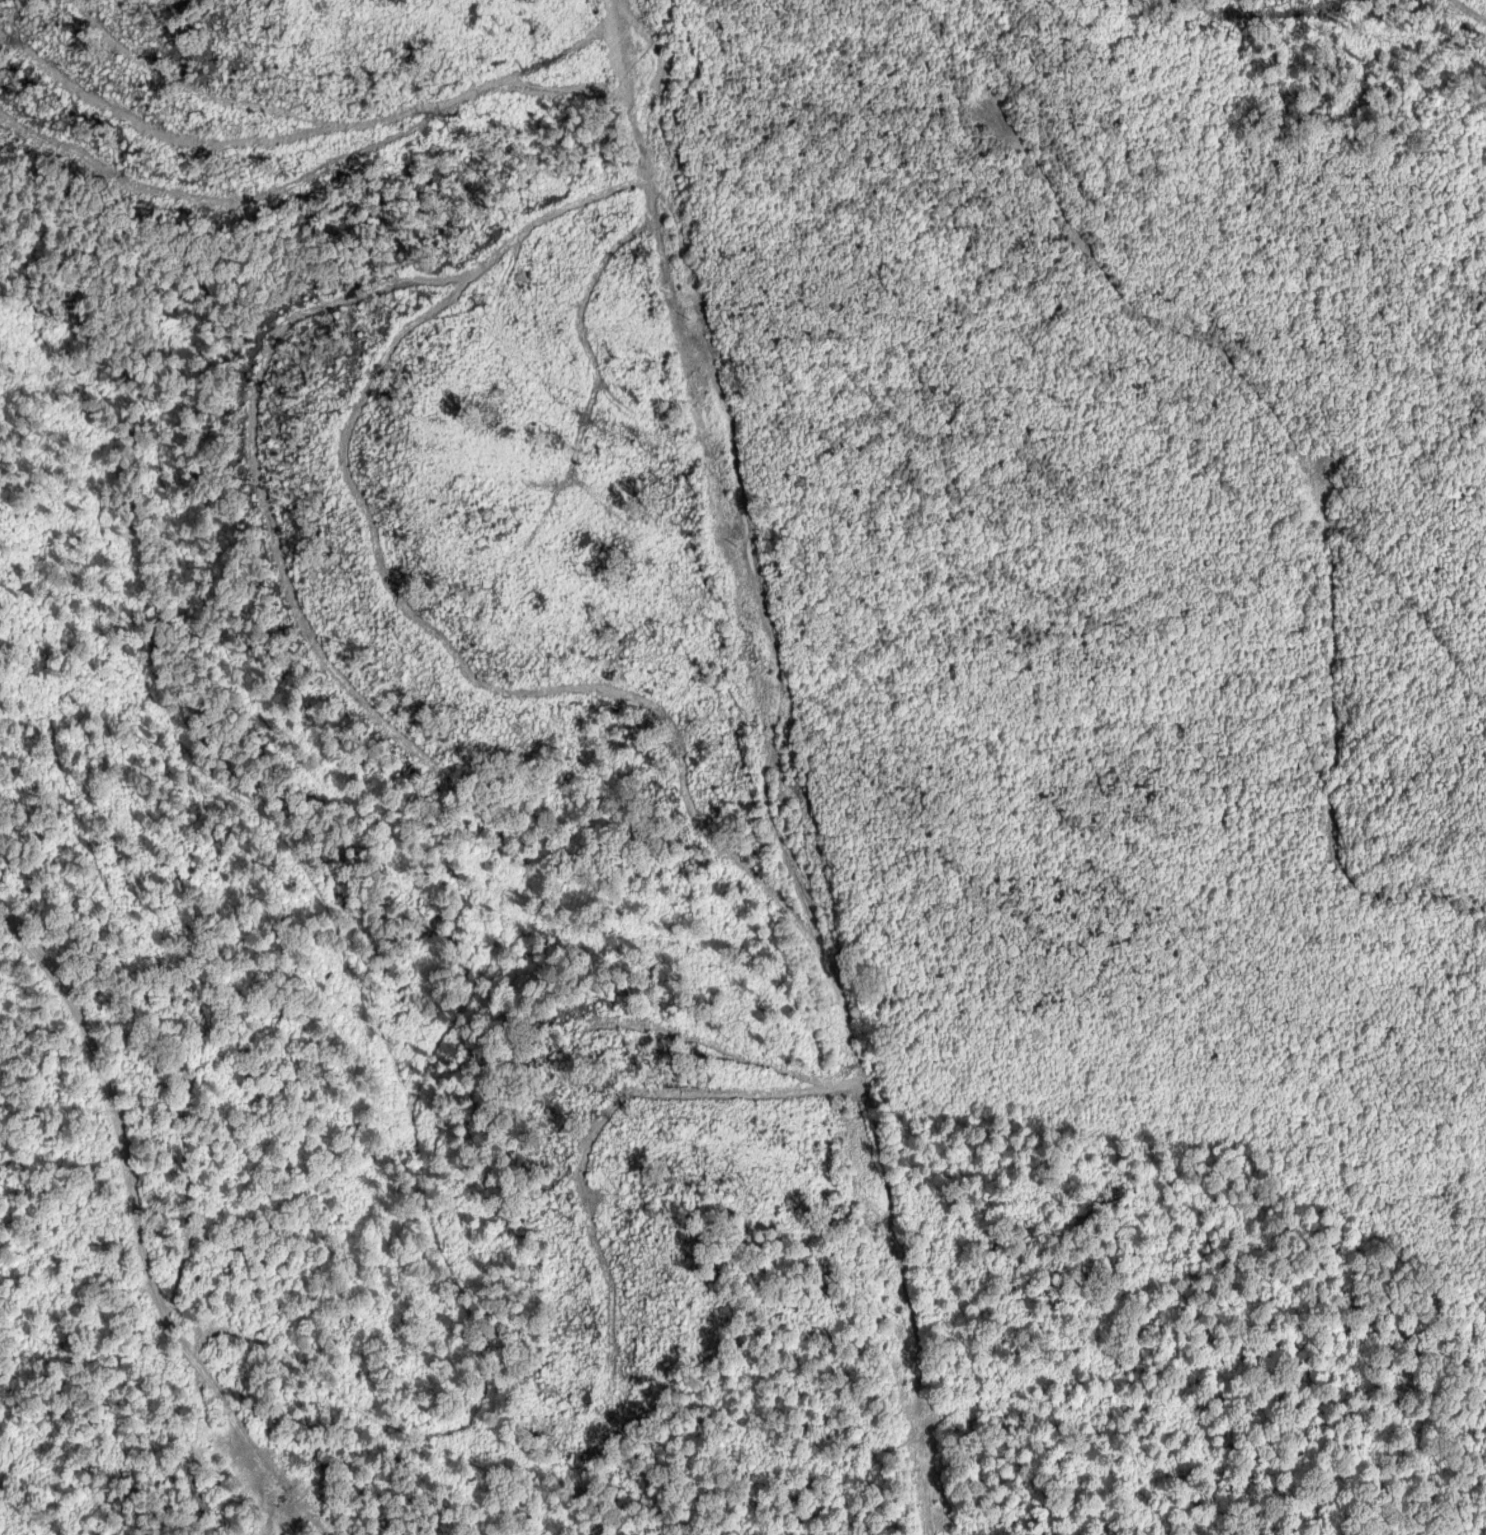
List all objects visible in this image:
road: (143, 1224)

